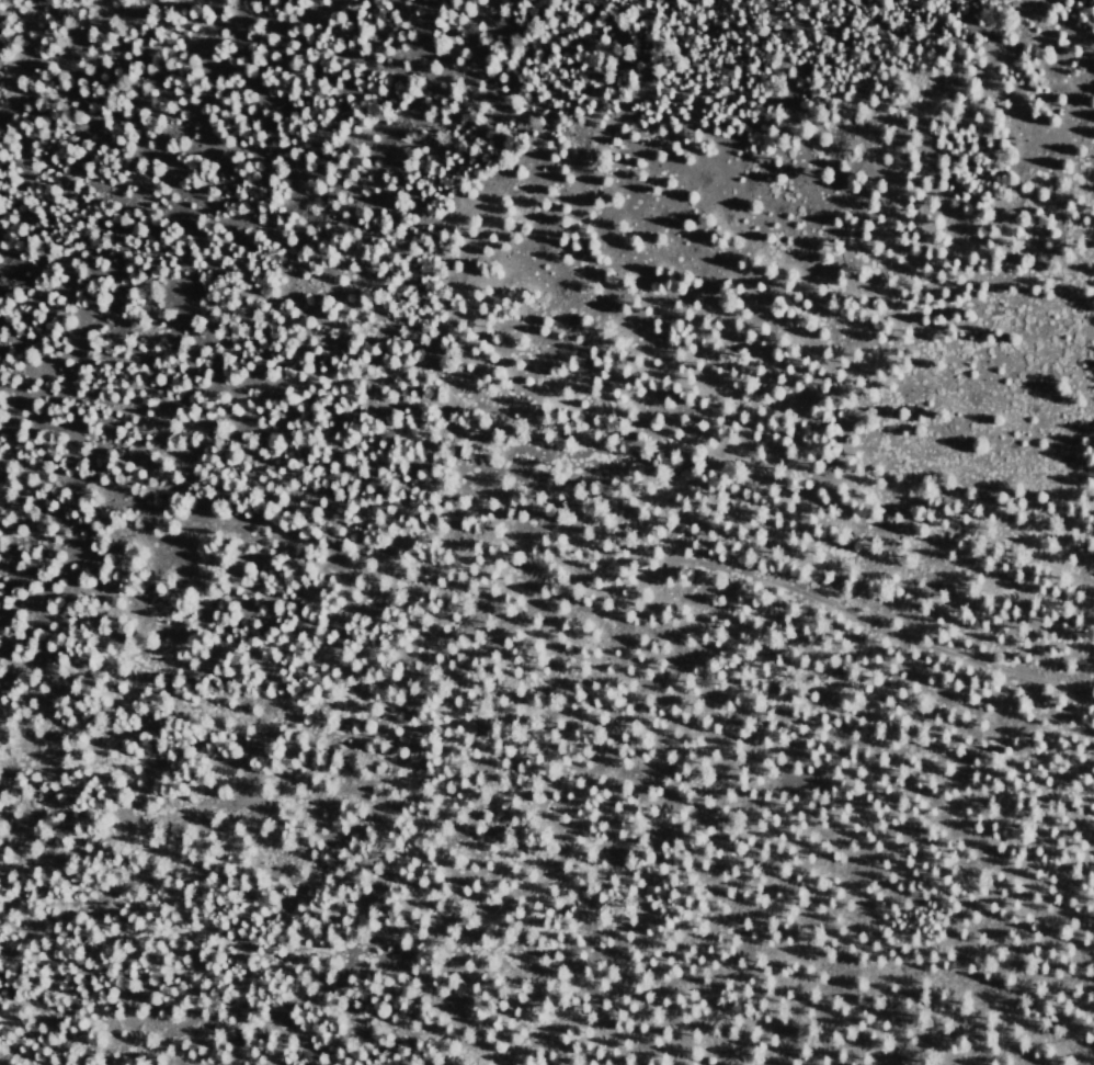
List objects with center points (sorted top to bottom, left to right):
road: (561, 593)

